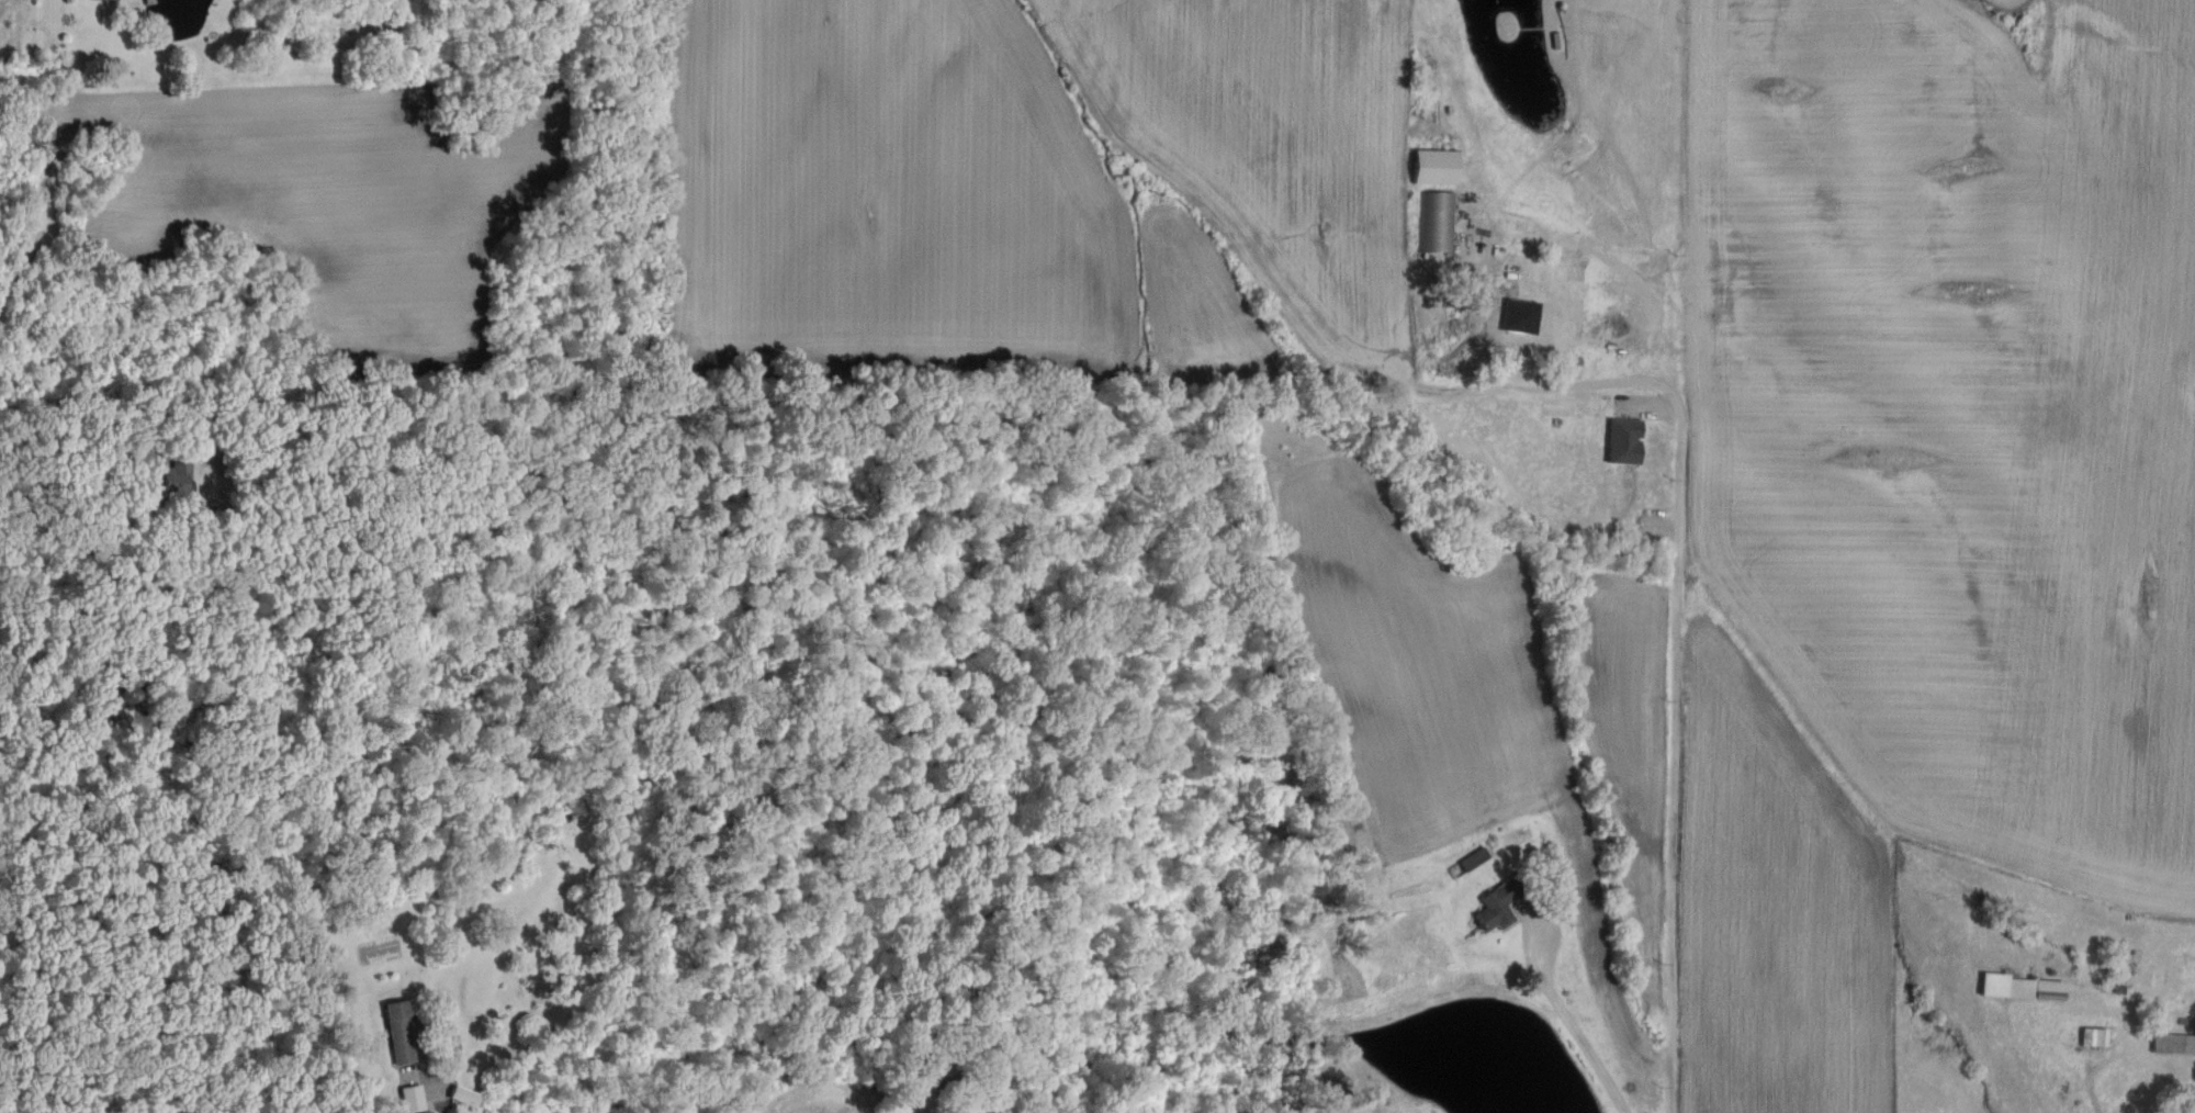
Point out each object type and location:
road: (0, 0)
building: (1436, 166)
building: (1438, 221)
building: (1522, 315)
road: (79, 437)
building: (1625, 441)
road: (1677, 603)
road: (56, 637)
building: (1498, 907)
building: (2024, 988)
road: (1571, 1021)
building: (398, 1024)
building: (2174, 1043)
road: (428, 1068)
building: (464, 1095)
building: (414, 1099)

